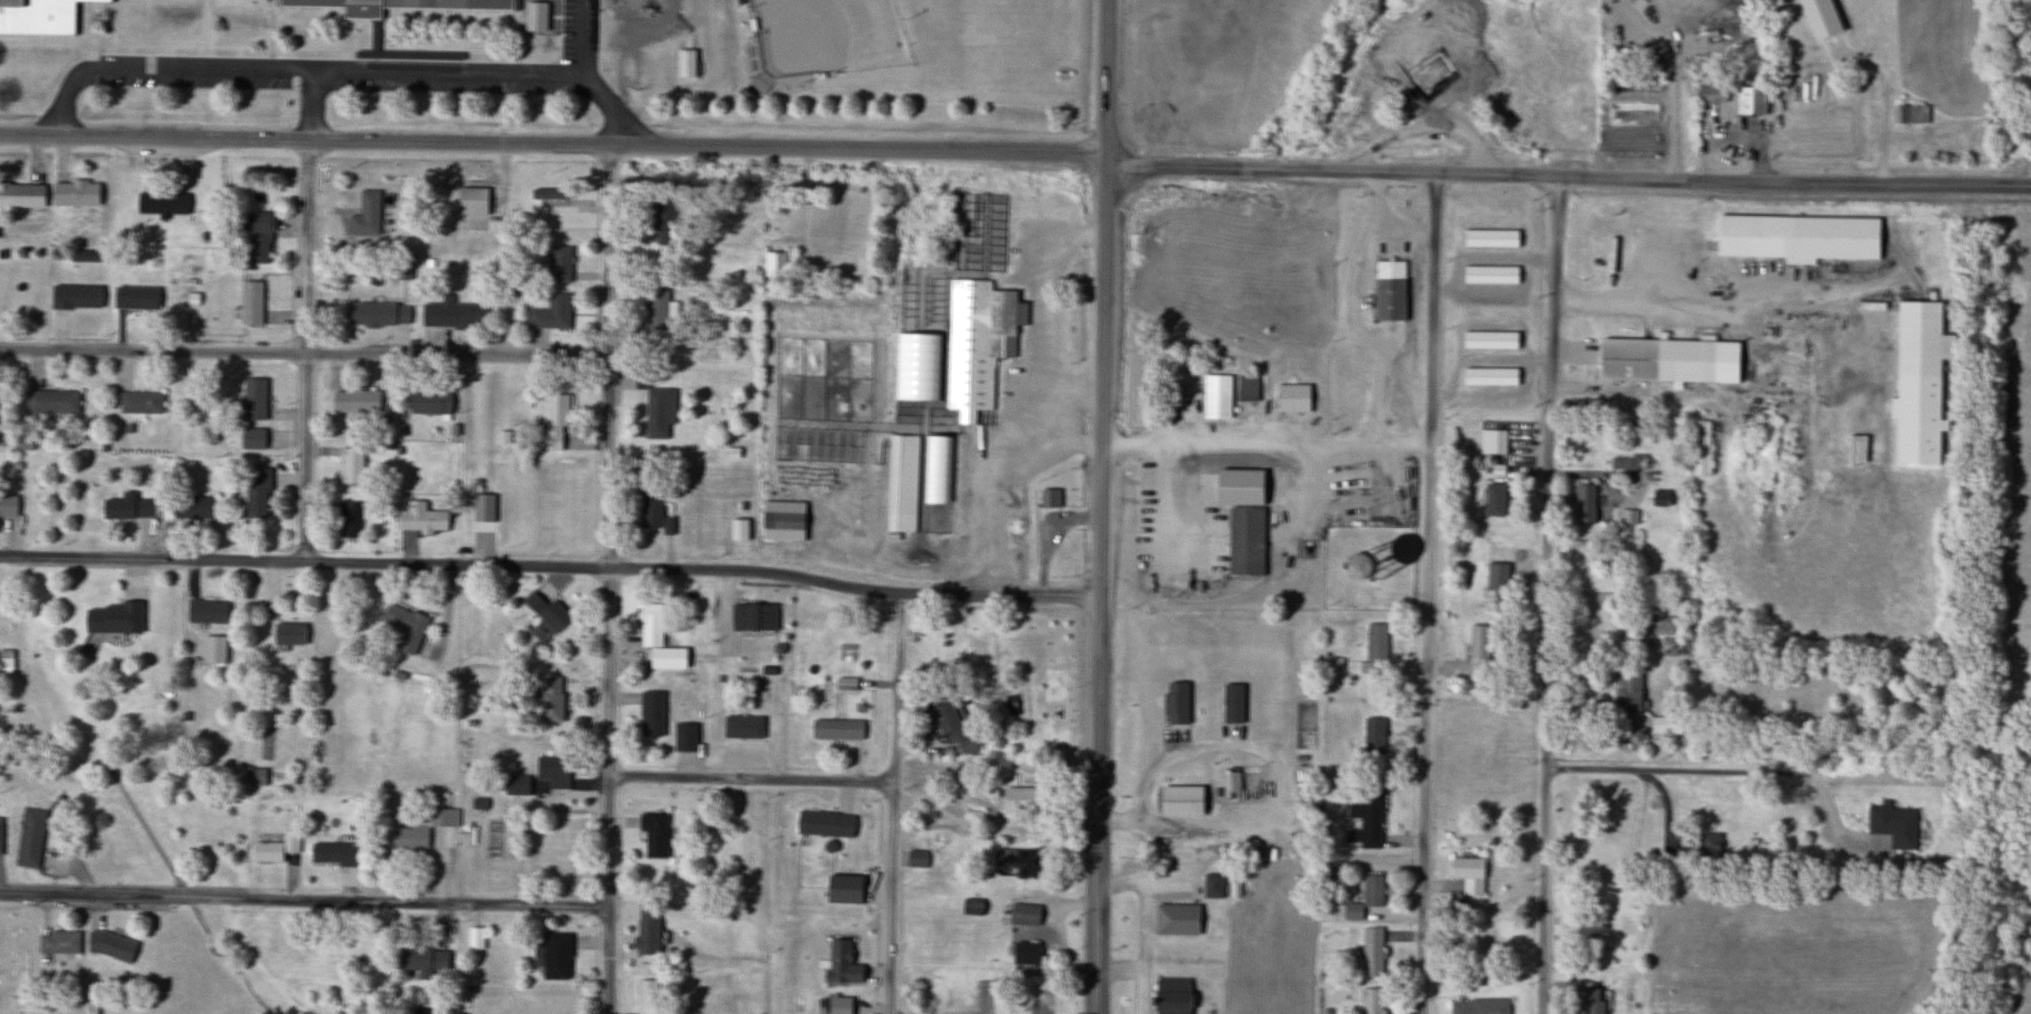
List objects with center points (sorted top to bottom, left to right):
building: (248, 0)
building: (395, 5)
building: (39, 15)
park: (824, 35)
building: (1420, 38)
building: (684, 63)
road: (342, 73)
building: (1710, 93)
building: (1434, 96)
building: (1750, 100)
building: (1909, 114)
building: (2028, 139)
road: (552, 143)
road: (1568, 176)
building: (68, 193)
building: (21, 194)
building: (545, 194)
building: (161, 203)
building: (462, 204)
building: (365, 215)
building: (255, 234)
building: (1489, 238)
building: (1797, 238)
building: (558, 265)
building: (773, 265)
building: (1489, 275)
building: (1389, 290)
building: (75, 297)
building: (135, 299)
building: (250, 303)
building: (655, 308)
building: (376, 314)
building: (551, 314)
building: (452, 315)
road: (307, 317)
building: (1488, 340)
building: (978, 346)
road: (305, 350)
building: (1657, 359)
building: (1488, 376)
building: (1918, 383)
building: (1247, 388)
building: (1216, 396)
building: (1292, 398)
building: (253, 399)
building: (50, 402)
building: (139, 402)
building: (354, 402)
building: (428, 403)
building: (656, 414)
building: (552, 423)
building: (250, 439)
building: (1493, 442)
building: (22, 443)
building: (1701, 448)
road: (1267, 449)
building: (1624, 464)
building: (350, 465)
building: (936, 470)
building: (901, 484)
building: (256, 493)
building: (1659, 498)
building: (1049, 499)
building: (1494, 499)
building: (1584, 504)
building: (7, 506)
building: (127, 507)
building: (192, 507)
road: (1103, 507)
building: (654, 512)
building: (420, 519)
building: (349, 520)
building: (781, 521)
building: (738, 530)
building: (1244, 542)
road: (551, 566)
building: (1348, 566)
water tower: (1369, 568)
building: (1497, 577)
road: (610, 579)
road: (1428, 592)
road: (1545, 594)
building: (205, 611)
building: (546, 612)
building: (113, 618)
building: (754, 618)
building: (404, 626)
building: (649, 626)
building: (288, 633)
building: (1375, 643)
building: (1479, 649)
building: (6, 663)
building: (1627, 693)
building: (551, 700)
building: (651, 714)
building: (1664, 725)
building: (741, 728)
building: (950, 728)
building: (836, 730)
building: (1373, 736)
building: (684, 738)
building: (552, 771)
road: (1733, 773)
building: (256, 777)
road: (753, 778)
building: (516, 785)
building: (1019, 799)
building: (1179, 801)
road: (893, 802)
road: (996, 814)
building: (443, 817)
building: (1366, 821)
building: (823, 825)
building: (1893, 826)
building: (411, 835)
building: (653, 835)
building: (0, 837)
building: (30, 837)
building: (1709, 847)
building: (275, 848)
building: (332, 853)
building: (915, 860)
building: (1016, 865)
building: (1467, 875)
building: (1212, 886)
building: (841, 890)
building: (1365, 898)
road: (304, 902)
building: (1024, 915)
building: (1174, 919)
building: (474, 938)
building: (58, 942)
building: (109, 947)
building: (1370, 952)
building: (1025, 953)
building: (554, 957)
road: (262, 962)
building: (422, 962)
building: (932, 990)
building: (1041, 995)
building: (1174, 995)
building: (646, 997)
building: (1372, 1001)
building: (1589, 1001)
building: (1479, 1007)
building: (1041, 1013)

